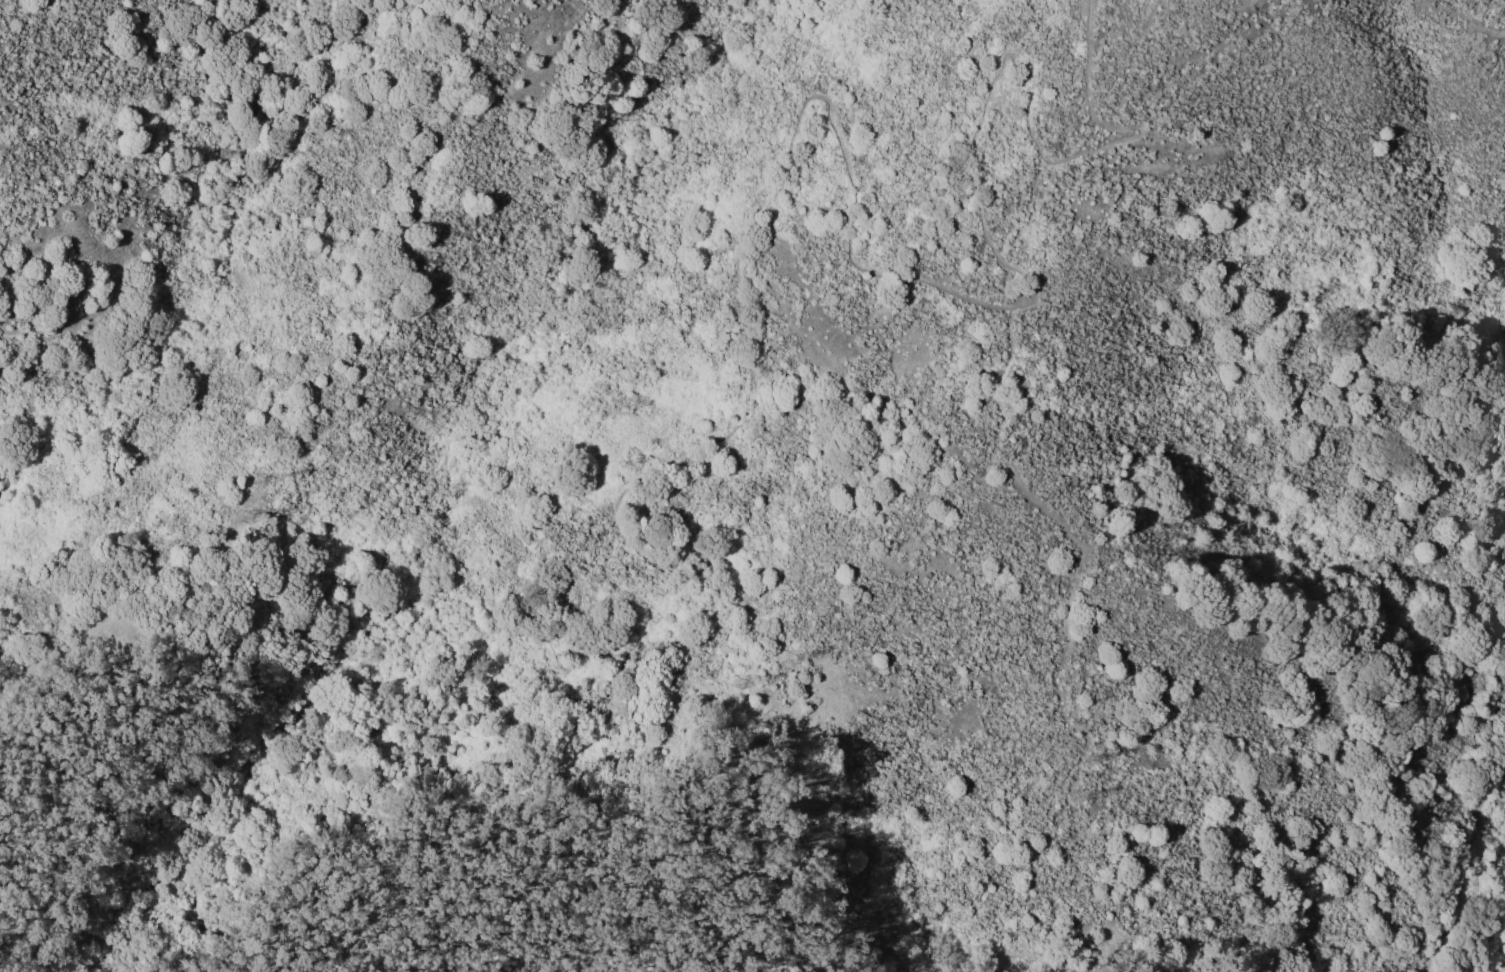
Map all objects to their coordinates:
road: (1058, 142)
road: (778, 195)
power tower: (263, 468)
power tower: (246, 516)
power tower: (796, 652)
power tower: (742, 680)
power tower: (1094, 758)
road: (354, 787)
power tower: (1081, 795)
road: (1460, 866)

